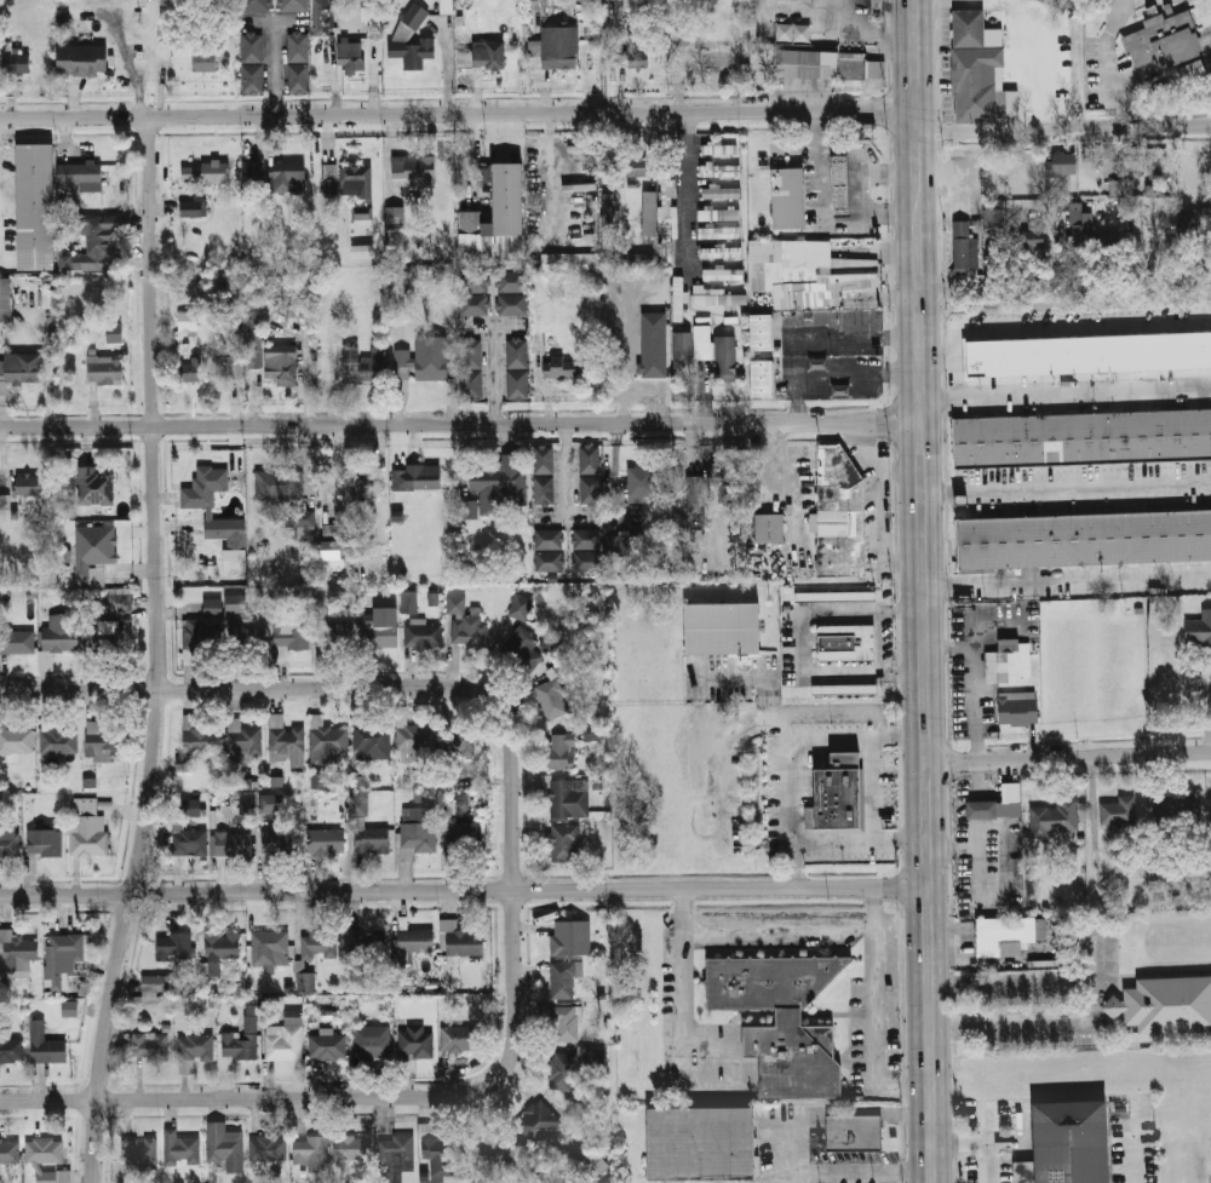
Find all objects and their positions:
building: (257, 5)
building: (294, 5)
building: (447, 6)
building: (325, 17)
building: (375, 17)
building: (966, 27)
building: (413, 38)
building: (1165, 40)
road: (1207, 41)
building: (561, 46)
road: (1046, 50)
building: (638, 53)
building: (354, 56)
building: (483, 56)
building: (708, 57)
building: (206, 58)
building: (82, 59)
building: (17, 62)
building: (253, 62)
building: (299, 63)
building: (825, 63)
road: (274, 69)
building: (1195, 70)
building: (972, 84)
road: (459, 114)
road: (1064, 127)
building: (721, 148)
building: (1130, 162)
building: (1063, 163)
building: (1160, 165)
building: (635, 166)
road: (863, 168)
building: (414, 170)
building: (721, 171)
building: (252, 172)
building: (206, 173)
building: (291, 176)
building: (482, 176)
building: (81, 177)
building: (328, 177)
building: (357, 182)
building: (844, 184)
gas station: (844, 184)
road: (687, 188)
building: (722, 191)
building: (790, 199)
building: (36, 206)
building: (194, 206)
building: (510, 209)
building: (361, 212)
building: (605, 212)
building: (650, 213)
building: (719, 214)
road: (820, 214)
building: (394, 217)
building: (993, 219)
building: (667, 220)
building: (1187, 224)
building: (719, 232)
building: (396, 236)
building: (1032, 236)
building: (1081, 239)
building: (964, 243)
building: (1119, 246)
building: (92, 248)
building: (361, 249)
building: (639, 258)
building: (569, 259)
building: (804, 271)
building: (723, 272)
building: (510, 281)
road: (1066, 287)
building: (472, 292)
building: (46, 298)
building: (6, 299)
road: (1207, 302)
building: (511, 304)
building: (186, 322)
road: (478, 325)
road: (1078, 327)
building: (113, 332)
building: (758, 332)
building: (653, 344)
building: (682, 348)
building: (714, 350)
building: (253, 351)
road: (942, 351)
building: (1090, 352)
road: (621, 355)
building: (431, 357)
road: (490, 362)
building: (280, 363)
building: (402, 363)
building: (371, 364)
building: (233, 367)
building: (559, 367)
building: (19, 368)
building: (516, 368)
building: (104, 369)
building: (190, 369)
building: (470, 369)
building: (761, 377)
road: (652, 394)
road: (1067, 395)
road: (461, 424)
building: (1083, 438)
building: (543, 459)
building: (589, 459)
road: (566, 469)
road: (900, 473)
building: (417, 477)
building: (723, 482)
road: (782, 482)
building: (279, 483)
building: (639, 483)
building: (24, 484)
building: (352, 484)
building: (94, 486)
building: (494, 486)
road: (1067, 488)
building: (543, 489)
building: (589, 489)
building: (698, 496)
road: (879, 510)
building: (208, 512)
building: (839, 513)
building: (302, 522)
building: (768, 528)
building: (585, 538)
building: (547, 539)
building: (1085, 539)
building: (626, 544)
building: (93, 551)
building: (332, 553)
building: (547, 561)
building: (586, 561)
road: (1068, 579)
road: (925, 591)
building: (837, 596)
building: (120, 599)
building: (408, 601)
building: (234, 602)
building: (454, 603)
building: (212, 607)
building: (518, 607)
road: (863, 608)
building: (725, 628)
building: (1199, 628)
building: (469, 630)
building: (104, 632)
building: (289, 632)
building: (379, 633)
building: (421, 633)
building: (245, 636)
building: (334, 636)
building: (56, 637)
building: (194, 638)
building: (17, 641)
building: (846, 642)
building: (522, 647)
road: (157, 651)
building: (1010, 660)
road: (831, 673)
road: (737, 676)
road: (974, 682)
road: (345, 688)
building: (846, 689)
building: (553, 701)
road: (814, 707)
building: (1018, 707)
road: (876, 722)
road: (776, 724)
building: (590, 731)
road: (728, 734)
building: (199, 736)
road: (901, 736)
road: (832, 737)
building: (241, 739)
building: (409, 739)
building: (286, 740)
building: (326, 740)
building: (372, 740)
building: (57, 741)
building: (15, 742)
building: (99, 742)
building: (461, 743)
building: (561, 751)
road: (1068, 757)
building: (183, 762)
building: (839, 793)
building: (566, 799)
building: (245, 803)
building: (270, 803)
building: (998, 804)
building: (193, 806)
building: (1176, 809)
building: (455, 810)
building: (1118, 812)
road: (792, 814)
building: (1056, 816)
building: (365, 829)
road: (877, 829)
building: (88, 831)
building: (417, 831)
road: (901, 838)
building: (277, 839)
building: (8, 840)
building: (323, 840)
building: (44, 842)
building: (195, 842)
building: (564, 842)
building: (230, 843)
road: (464, 891)
road: (773, 928)
building: (1004, 932)
building: (569, 937)
building: (459, 938)
building: (414, 940)
building: (365, 942)
building: (317, 943)
building: (173, 946)
building: (266, 946)
building: (220, 948)
building: (16, 953)
building: (64, 957)
building: (561, 980)
building: (305, 981)
building: (155, 984)
road: (1092, 998)
building: (1170, 1005)
building: (1115, 1006)
road: (678, 1011)
building: (782, 1020)
building: (564, 1023)
road: (873, 1033)
building: (285, 1038)
building: (459, 1038)
building: (371, 1040)
building: (413, 1043)
building: (45, 1044)
building: (150, 1045)
building: (326, 1045)
building: (12, 1047)
building: (236, 1047)
building: (193, 1050)
building: (573, 1064)
road: (349, 1098)
building: (535, 1121)
building: (855, 1133)
road: (976, 1139)
building: (1072, 1141)
building: (702, 1142)
road: (785, 1142)
building: (225, 1145)
building: (182, 1148)
building: (269, 1148)
building: (351, 1148)
road: (1132, 1149)
building: (138, 1150)
building: (395, 1150)
building: (10, 1152)
building: (45, 1152)
building: (310, 1152)
building: (438, 1156)
building: (587, 1159)
road: (988, 1161)
building: (53, 1177)

